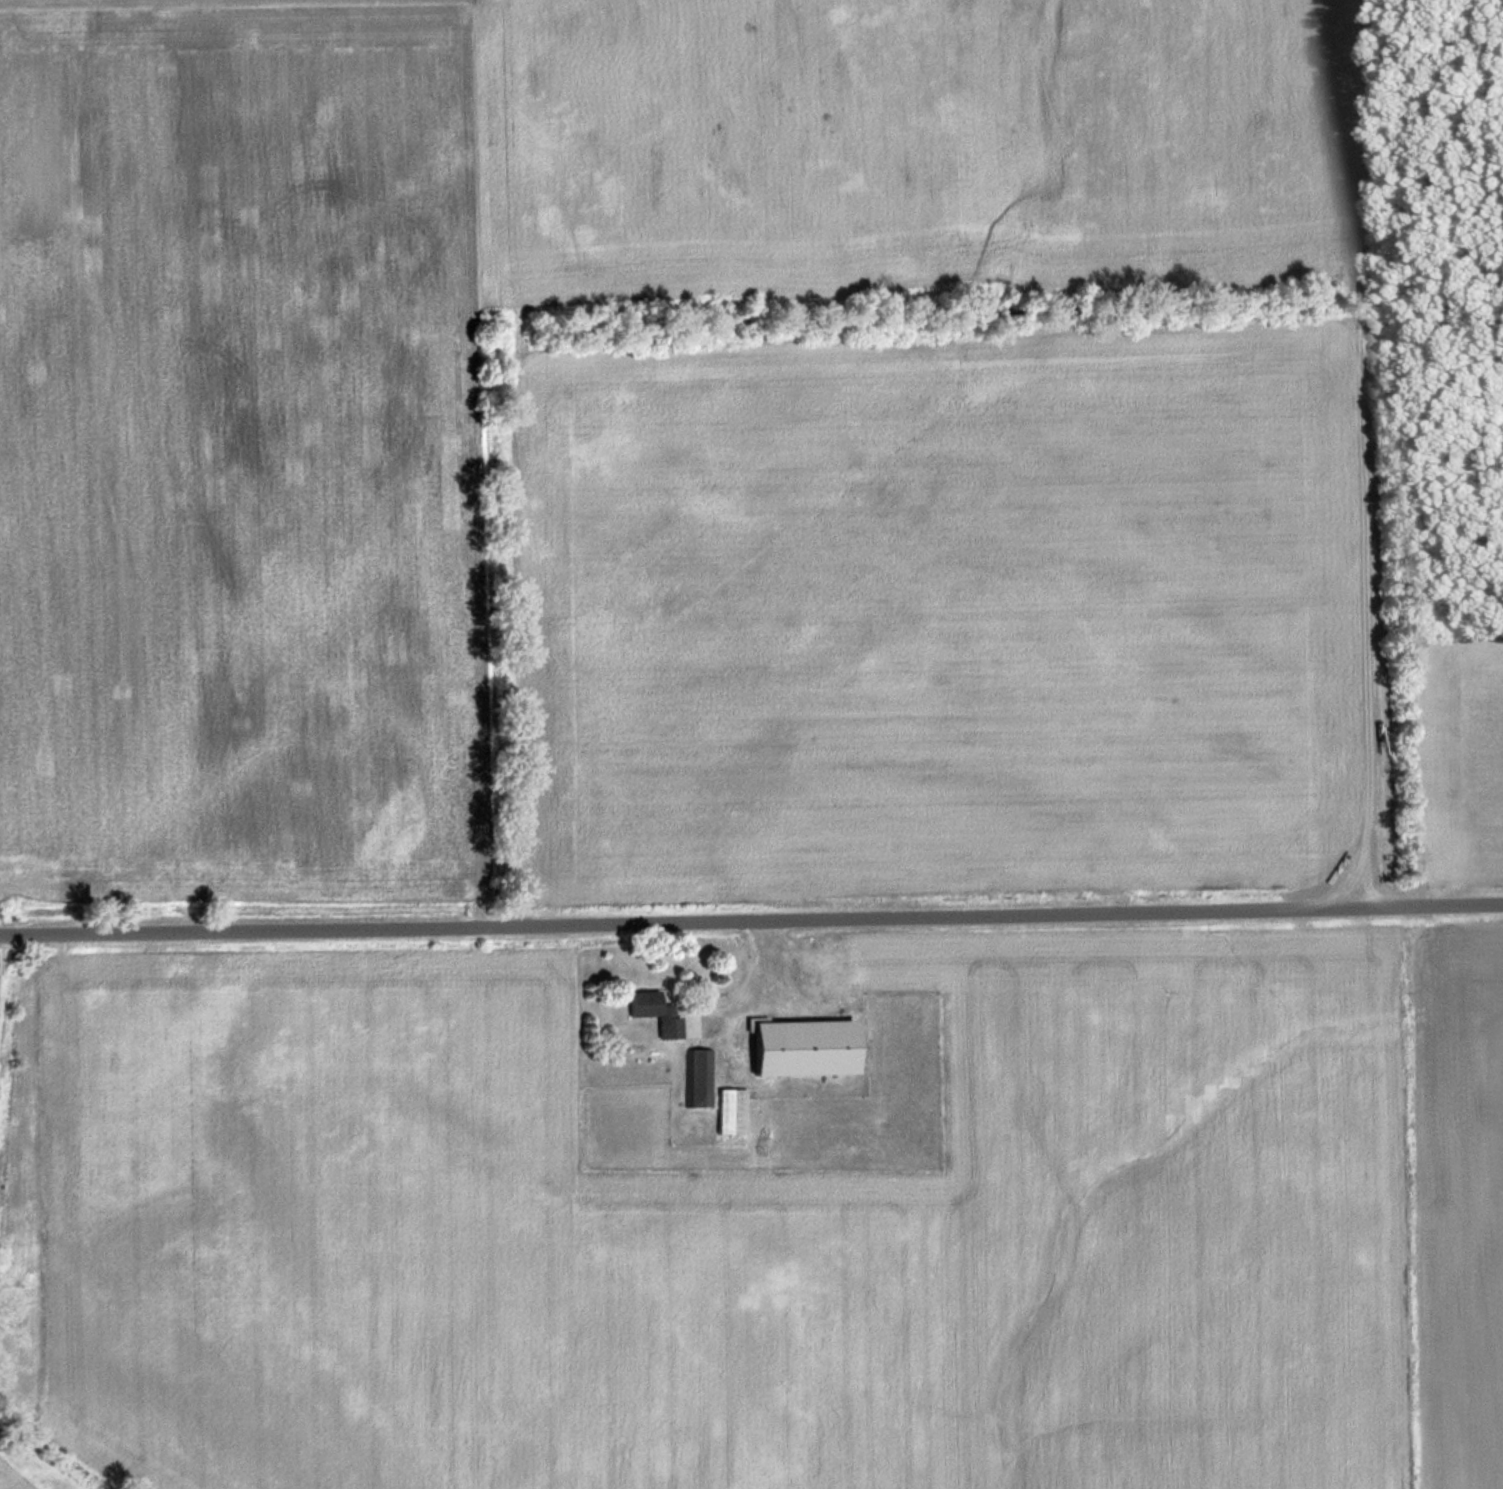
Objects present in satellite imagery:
road: (751, 923)
building: (649, 1011)
building: (797, 1047)
building: (699, 1069)
building: (727, 1110)

